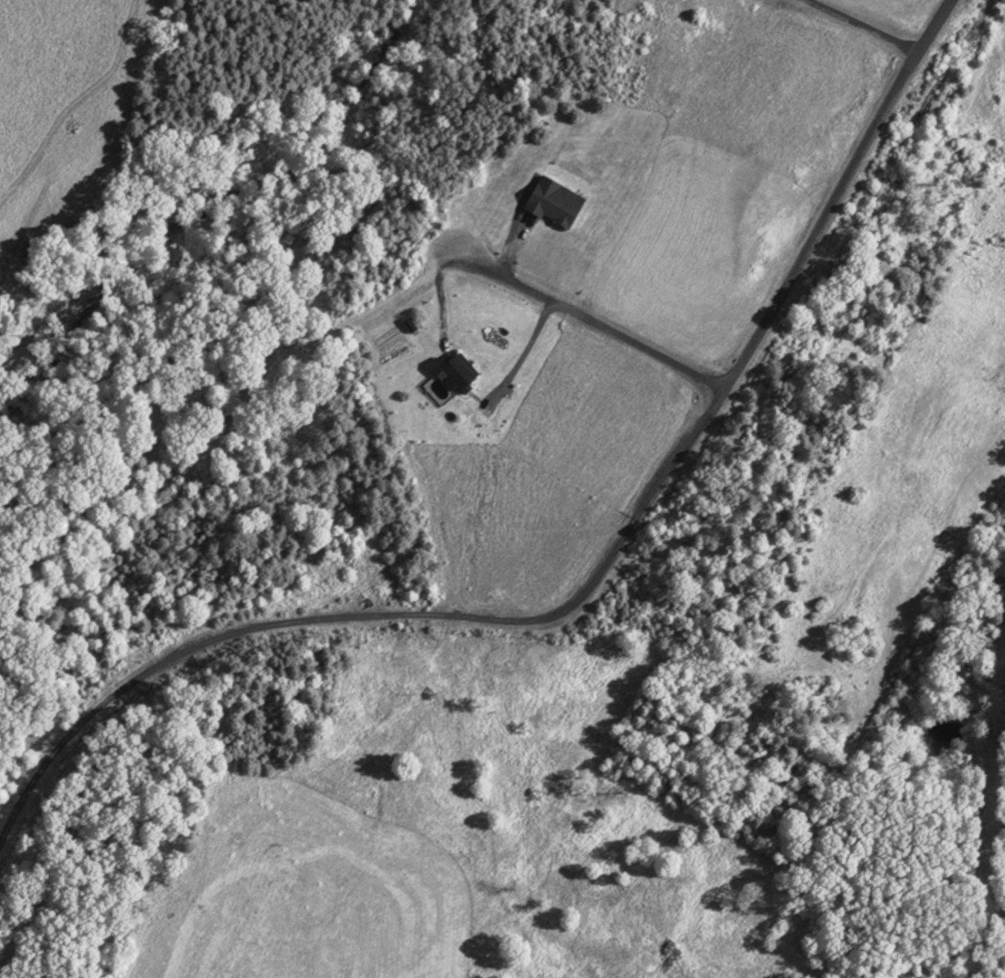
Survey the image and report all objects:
road: (858, 27)
building: (549, 206)
road: (583, 317)
road: (575, 612)

